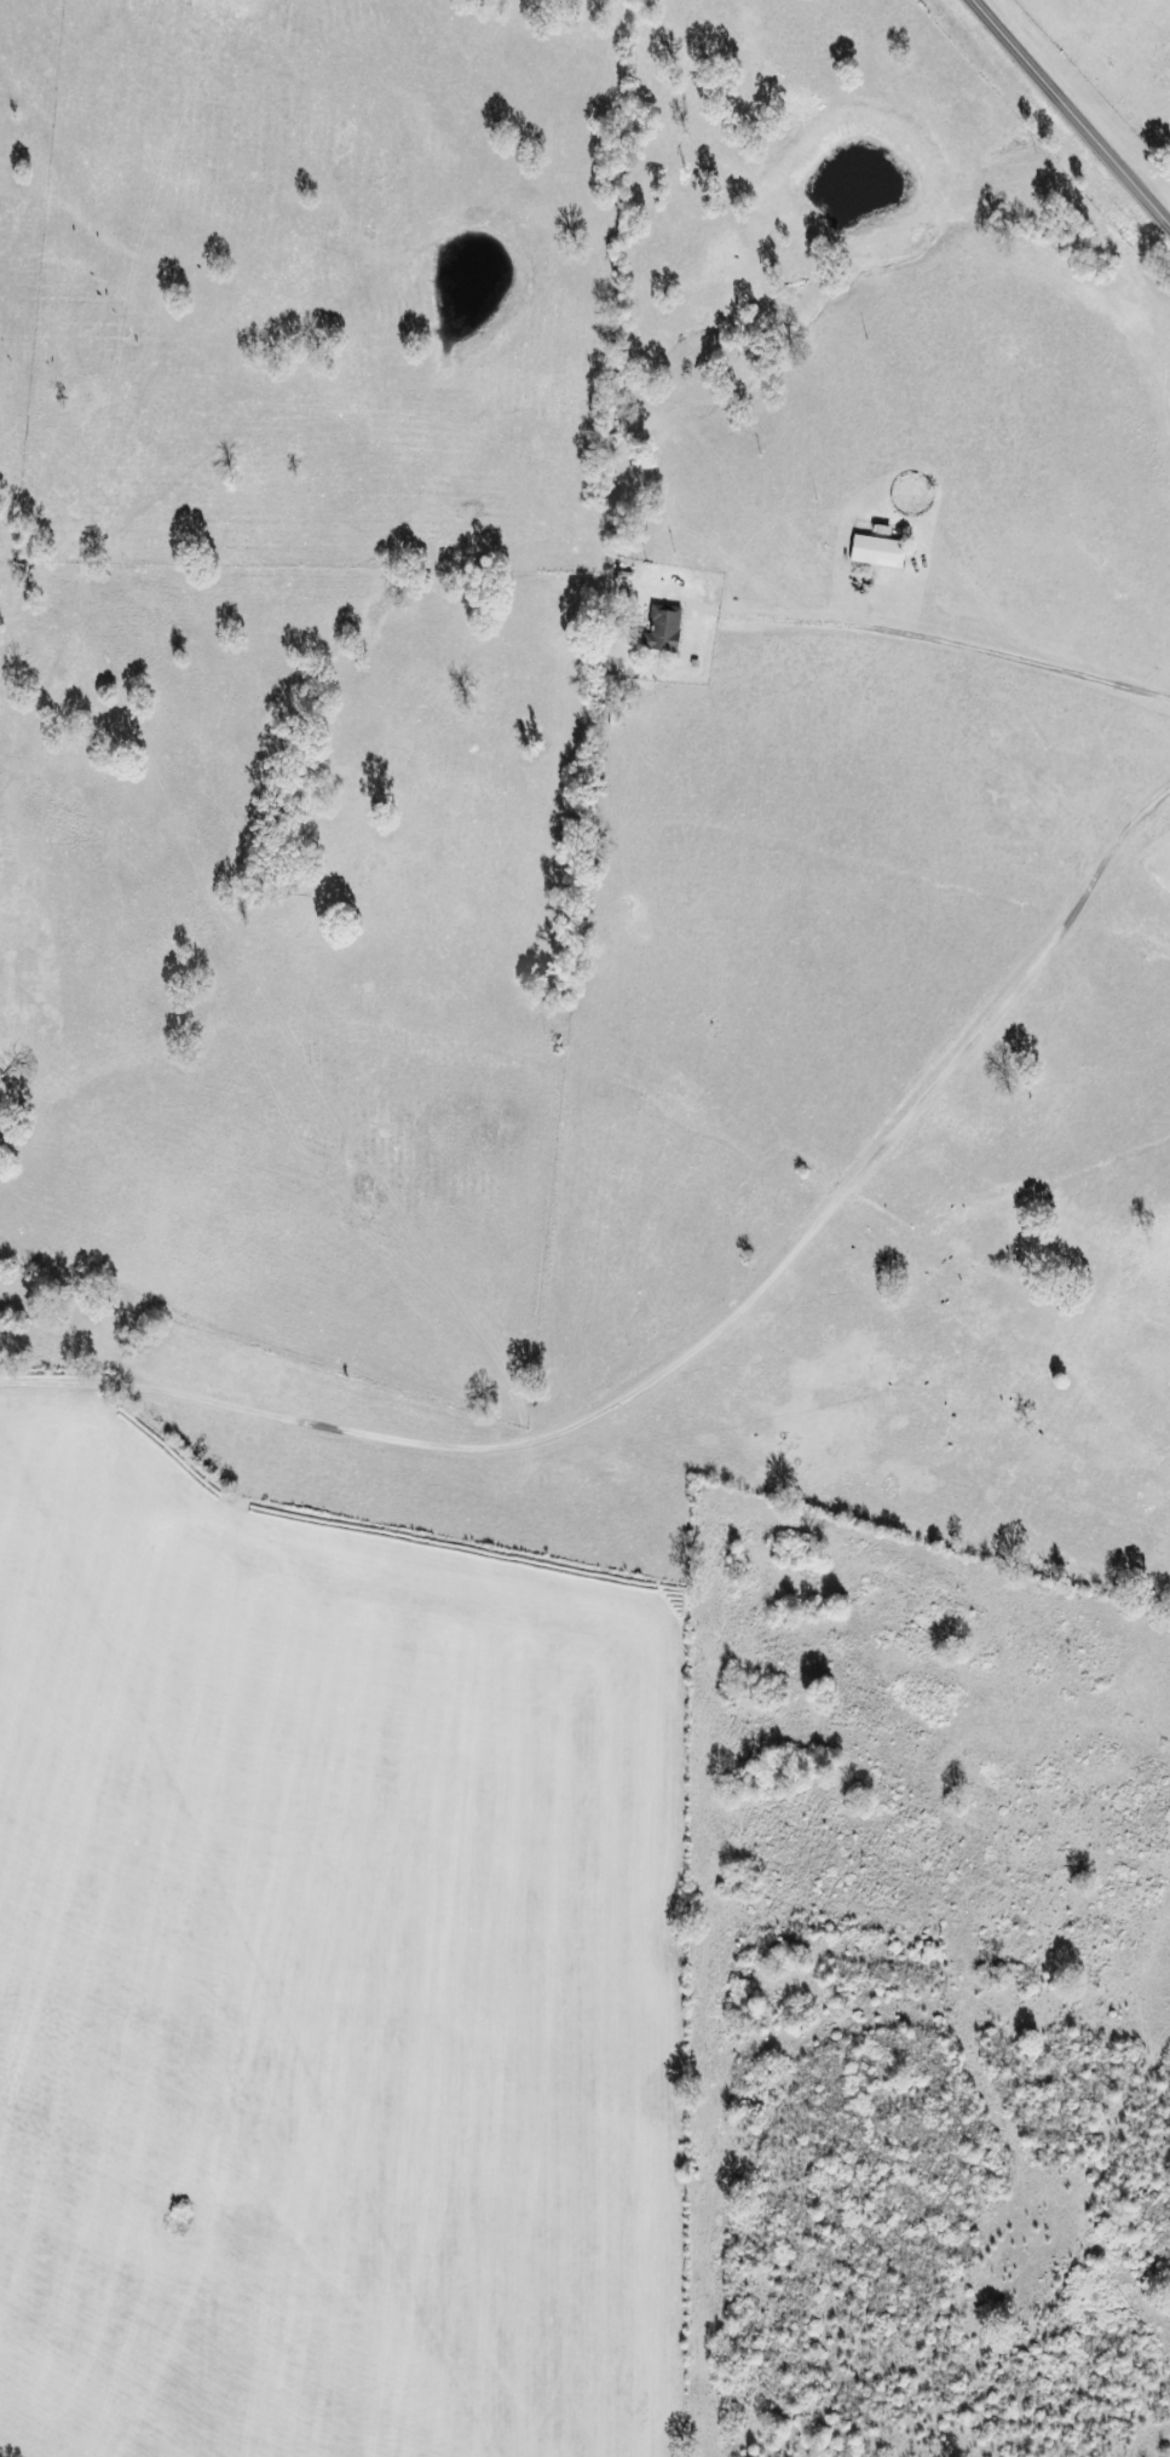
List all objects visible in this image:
road: (1077, 102)
building: (876, 551)
building: (663, 629)

